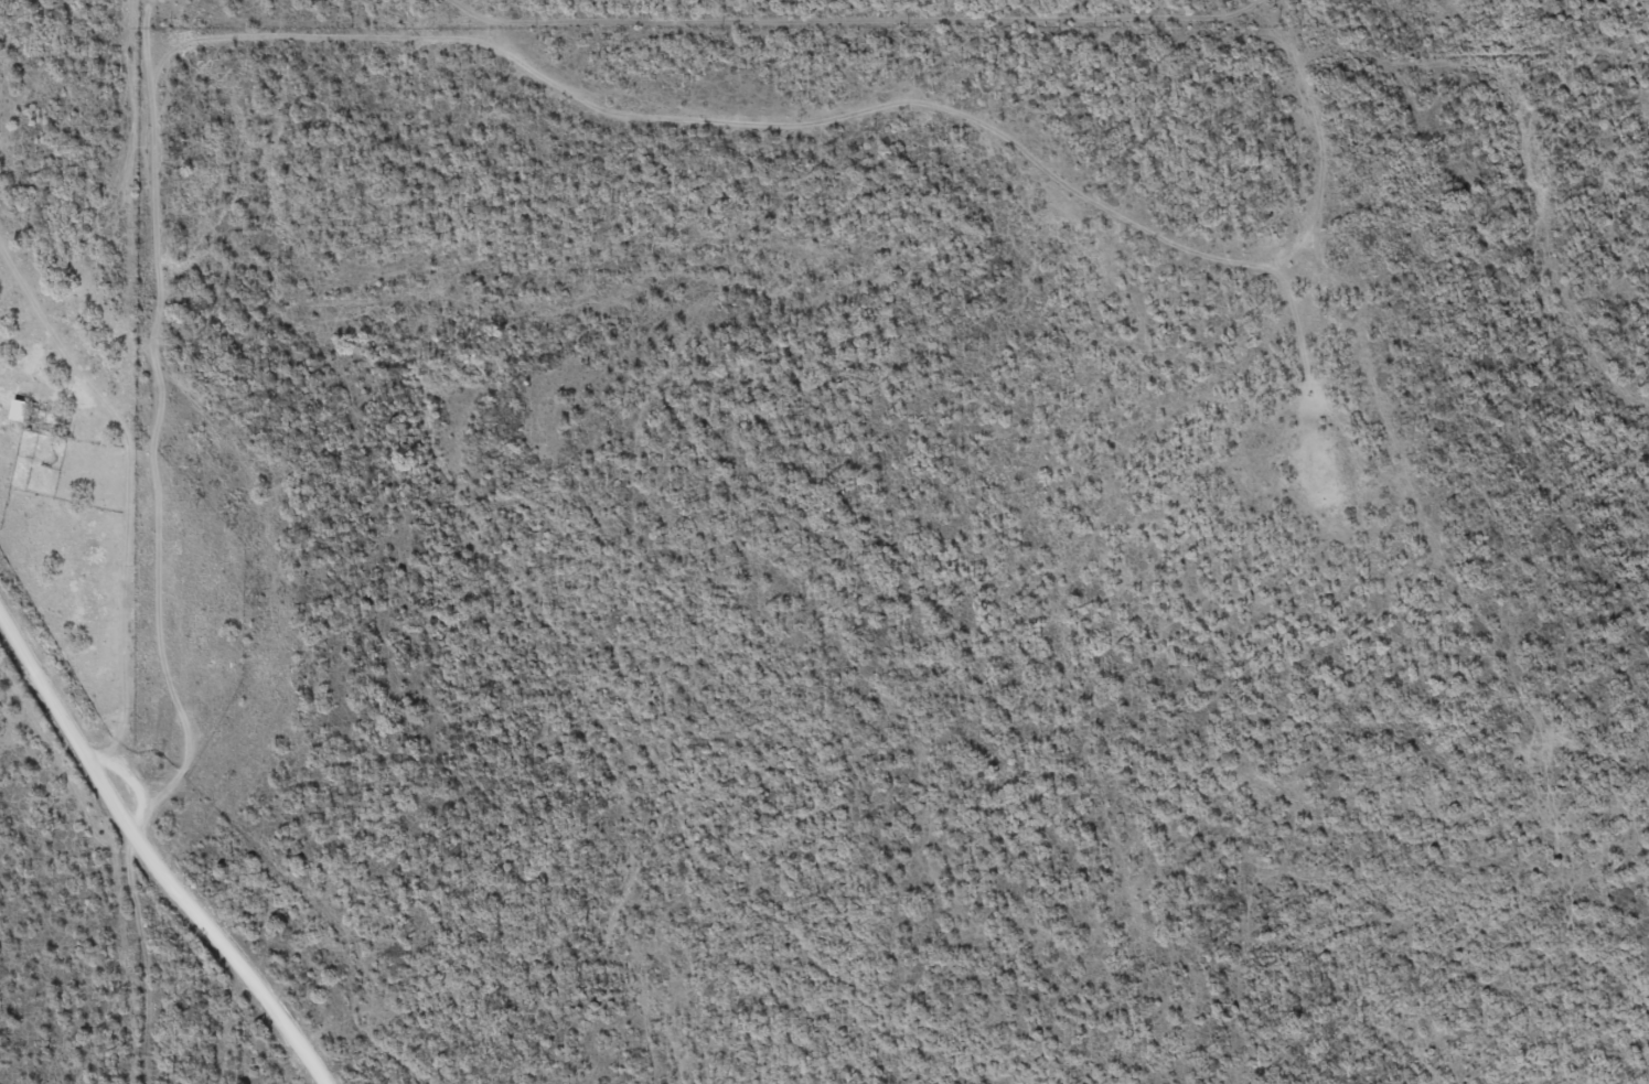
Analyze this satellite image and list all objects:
road: (126, 545)
road: (132, 781)
road: (151, 859)

